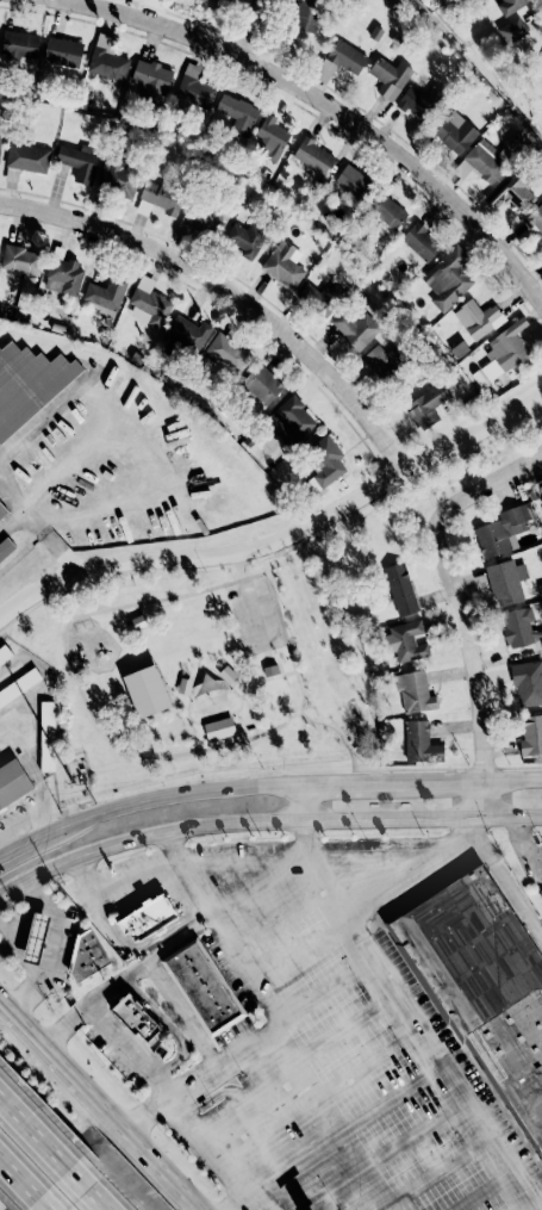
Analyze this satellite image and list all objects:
building: (306, 14)
road: (267, 30)
building: (511, 30)
building: (19, 48)
building: (62, 52)
building: (107, 58)
building: (339, 61)
building: (541, 62)
building: (390, 76)
building: (150, 81)
building: (193, 93)
road: (324, 100)
building: (418, 100)
building: (236, 114)
building: (455, 134)
building: (0, 137)
building: (269, 138)
building: (517, 142)
building: (313, 156)
building: (26, 157)
building: (482, 161)
building: (77, 163)
building: (117, 178)
building: (353, 182)
building: (511, 192)
building: (161, 198)
building: (386, 211)
building: (536, 218)
building: (200, 219)
building: (244, 238)
building: (420, 242)
building: (20, 260)
building: (284, 263)
building: (63, 277)
building: (447, 278)
building: (105, 294)
road: (230, 294)
building: (322, 297)
building: (149, 302)
building: (476, 318)
building: (355, 329)
building: (228, 353)
building: (500, 354)
building: (381, 361)
building: (29, 384)
building: (262, 384)
building: (426, 407)
road: (104, 408)
road: (45, 412)
building: (289, 420)
building: (323, 463)
road: (62, 470)
road: (12, 490)
road: (125, 496)
building: (2, 510)
road: (357, 515)
road: (39, 527)
building: (501, 530)
road: (282, 538)
building: (6, 547)
building: (505, 582)
building: (400, 589)
road: (251, 600)
road: (461, 606)
parking lot: (268, 612)
parking lot: (241, 620)
building: (139, 622)
building: (518, 627)
building: (405, 641)
building: (5, 653)
road: (279, 663)
building: (270, 670)
park: (207, 671)
road: (261, 674)
building: (228, 675)
road: (272, 675)
road: (237, 680)
building: (528, 682)
building: (19, 685)
building: (185, 687)
building: (147, 691)
building: (415, 693)
road: (154, 699)
road: (229, 716)
road: (226, 718)
building: (219, 730)
road: (336, 730)
building: (48, 736)
building: (531, 736)
road: (119, 739)
building: (420, 744)
road: (521, 765)
road: (482, 767)
road: (410, 768)
road: (473, 781)
building: (13, 782)
road: (353, 783)
road: (177, 793)
road: (301, 802)
road: (264, 821)
road: (469, 824)
road: (304, 831)
road: (30, 842)
building: (537, 842)
gas station: (537, 842)
road: (521, 845)
road: (437, 855)
road: (310, 856)
parking lot: (129, 864)
parking lot: (534, 876)
road: (269, 877)
road: (124, 882)
road: (505, 885)
parking lot: (135, 893)
parking lot: (80, 899)
road: (326, 901)
road: (29, 914)
building: (148, 918)
road: (157, 935)
building: (36, 938)
gas station: (36, 938)
road: (11, 944)
road: (243, 949)
parking lot: (64, 955)
road: (49, 956)
building: (86, 957)
road: (370, 962)
road: (25, 966)
building: (189, 967)
road: (131, 972)
parking lot: (229, 974)
building: (485, 982)
road: (328, 989)
road: (395, 1001)
road: (269, 1003)
road: (403, 1003)
building: (214, 1005)
road: (181, 1011)
road: (285, 1016)
building: (139, 1018)
road: (173, 1028)
road: (416, 1031)
parking lot: (233, 1032)
road: (39, 1037)
parking lot: (335, 1045)
parking lot: (116, 1059)
parking lot: (459, 1059)
road: (295, 1061)
road: (438, 1067)
road: (318, 1091)
road: (461, 1102)
road: (181, 1107)
road: (198, 1119)
road: (344, 1125)
road: (486, 1140)
road: (36, 1141)
road: (147, 1142)
road: (223, 1149)
parking lot: (199, 1152)
road: (378, 1158)
road: (509, 1175)
road: (425, 1177)
road: (23, 1184)
road: (86, 1195)
road: (238, 1195)
road: (478, 1195)
parking lot: (255, 1206)
road: (531, 1208)
road: (45, 1209)

